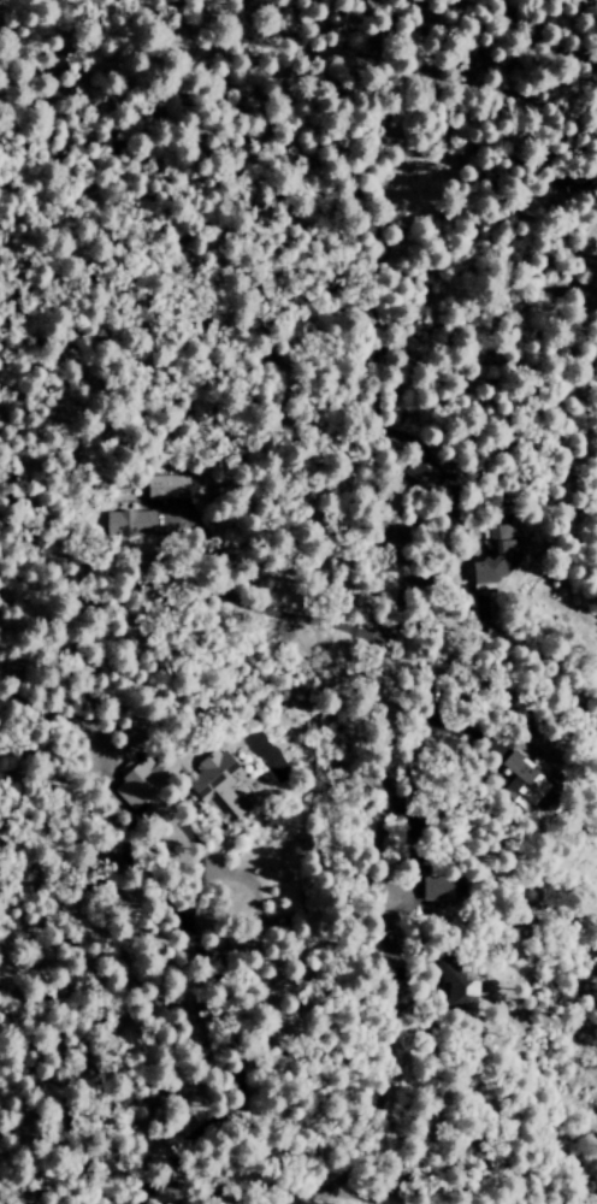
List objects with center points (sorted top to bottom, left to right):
road: (22, 26)
building: (166, 486)
building: (129, 524)
building: (495, 556)
building: (184, 783)
building: (520, 783)
building: (435, 890)
road: (379, 933)
building: (454, 982)

